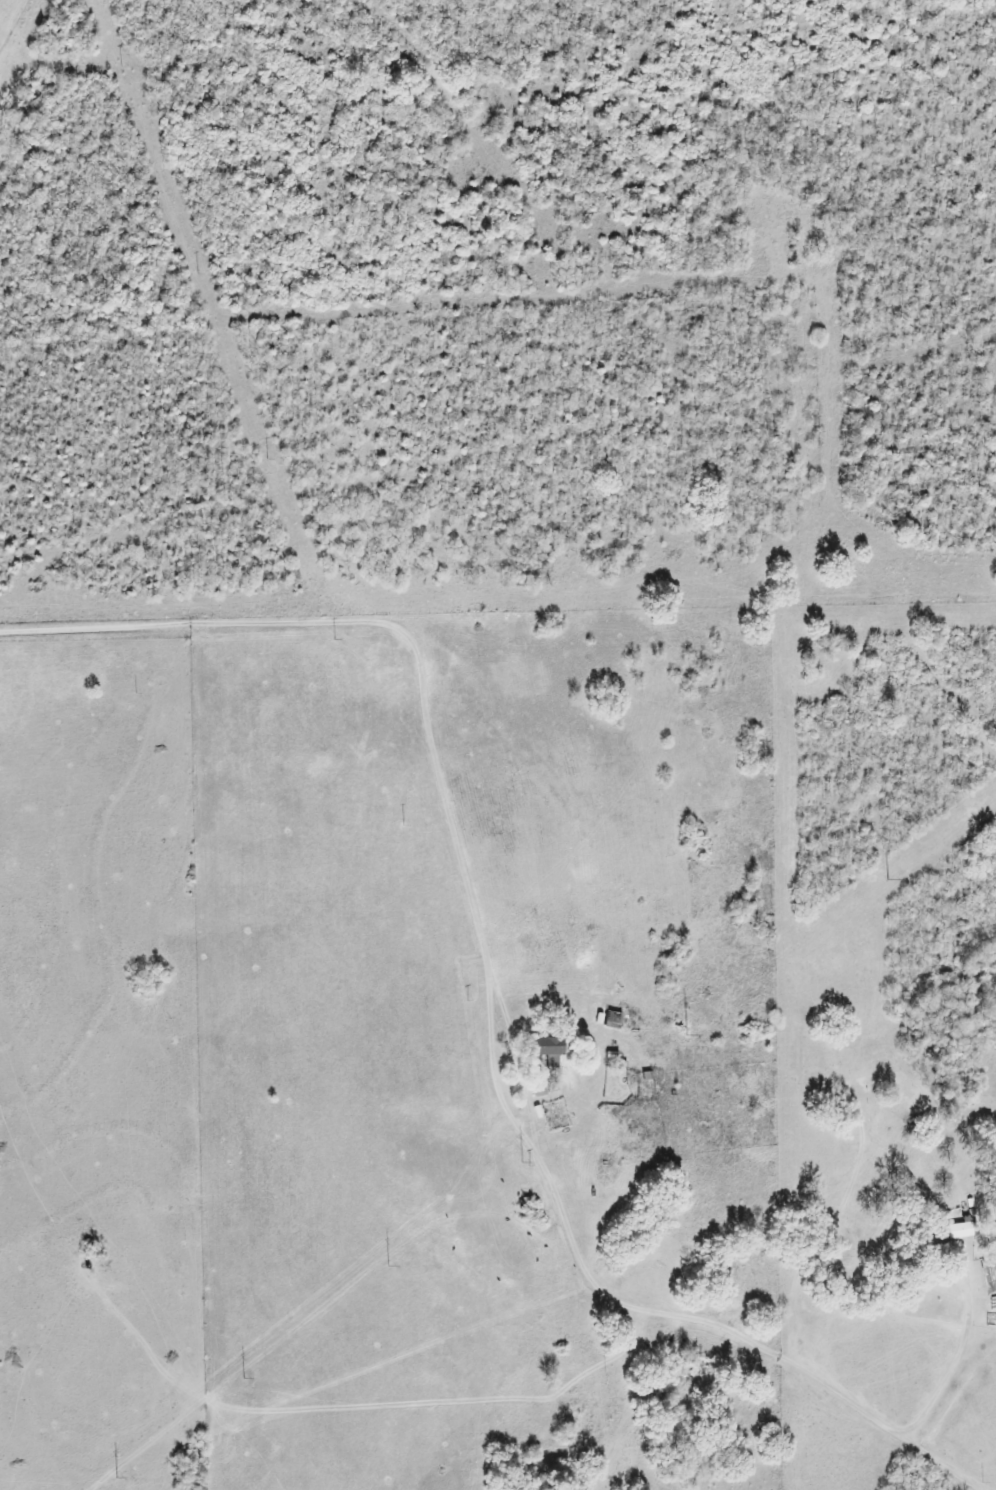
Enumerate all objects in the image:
road: (143, 32)
road: (610, 361)
building: (553, 1049)
building: (961, 1230)

